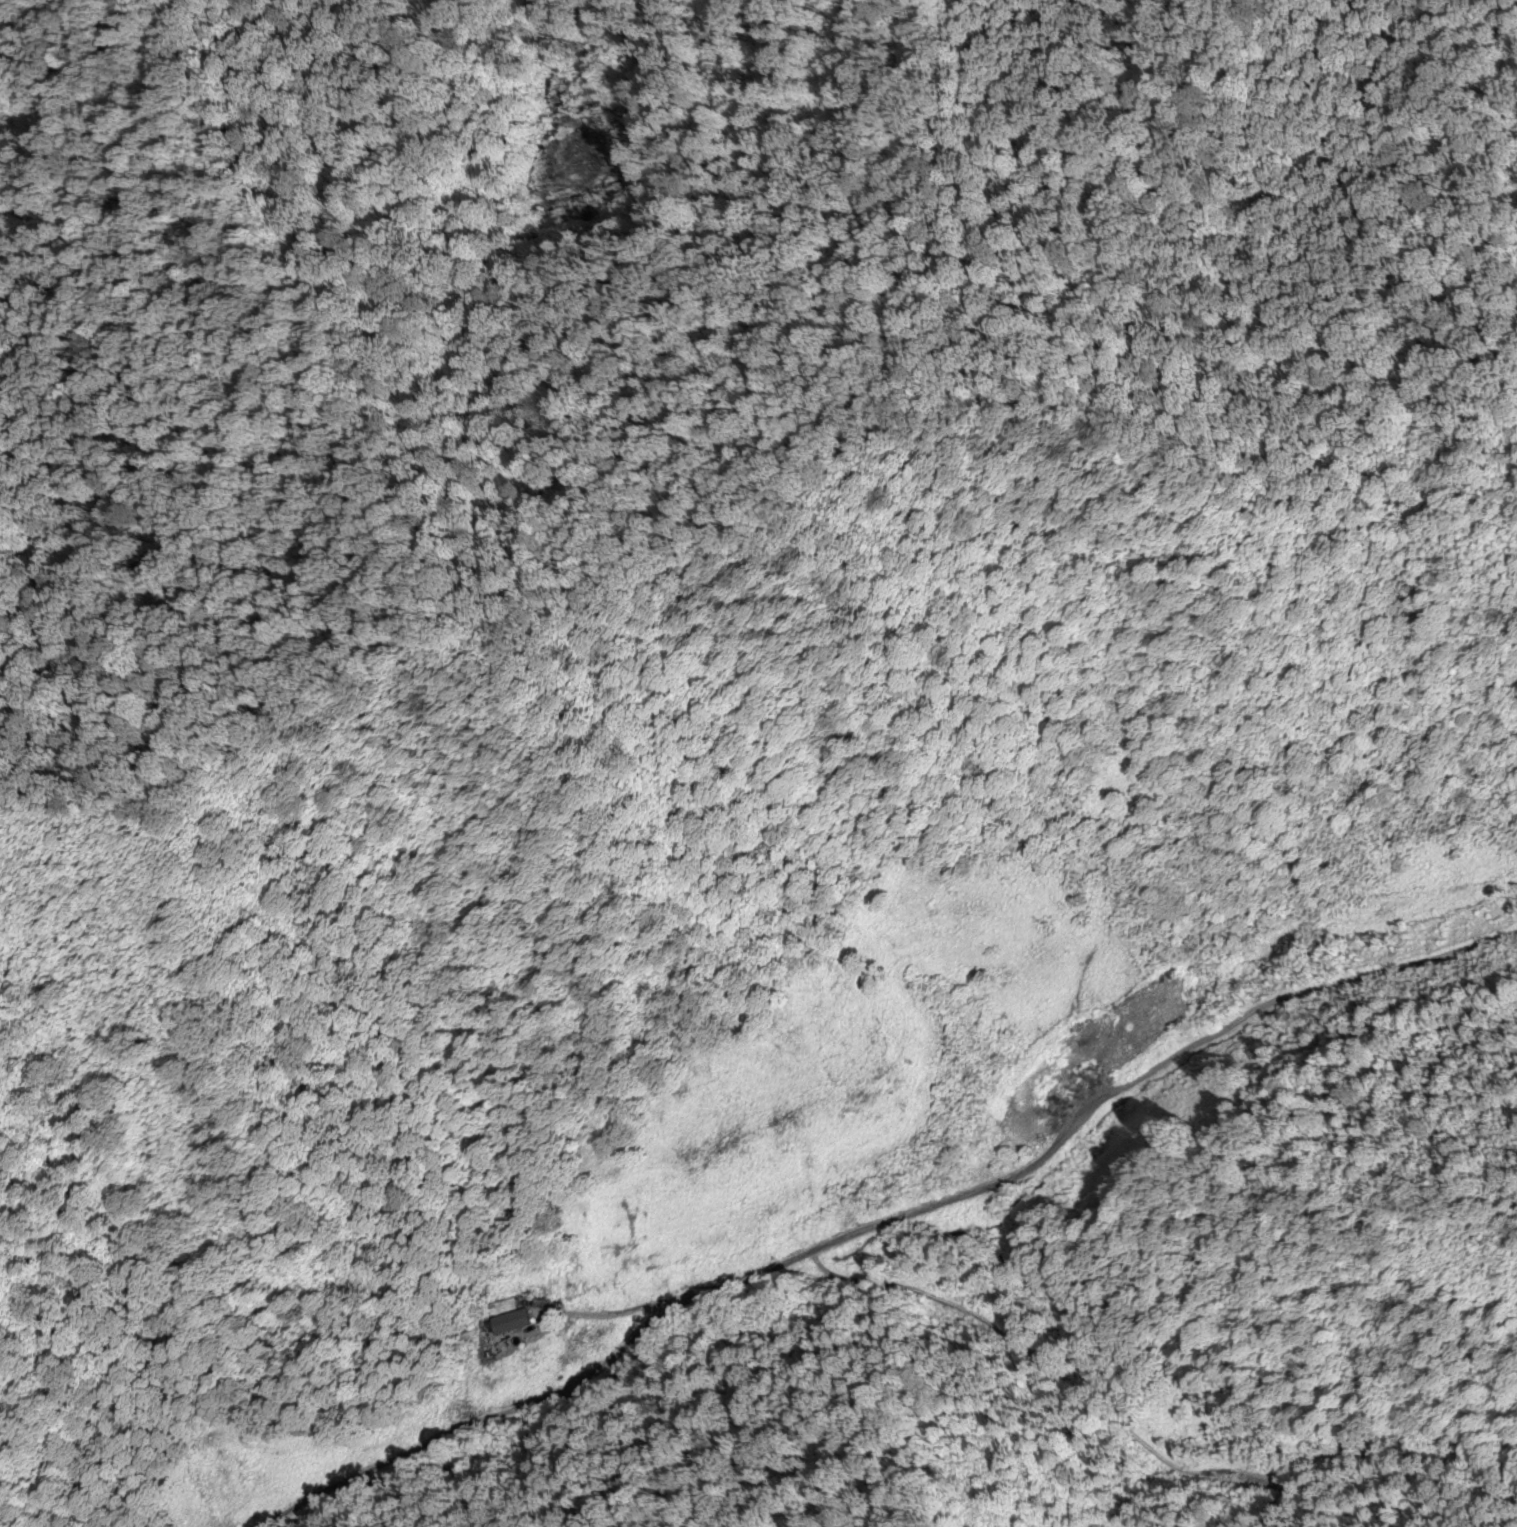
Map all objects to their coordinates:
road: (639, 1278)

